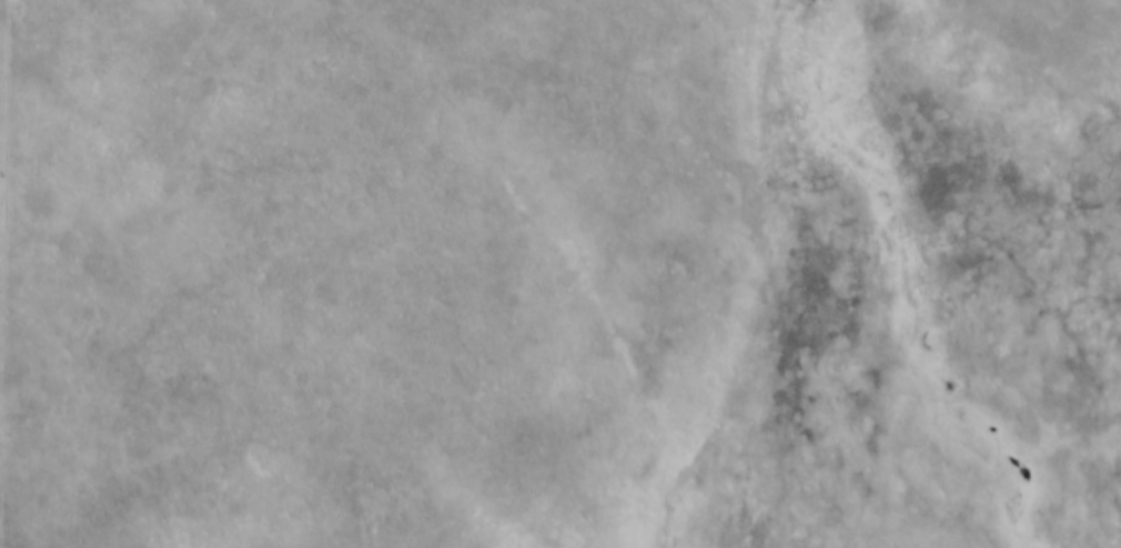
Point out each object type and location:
road: (4, 274)

